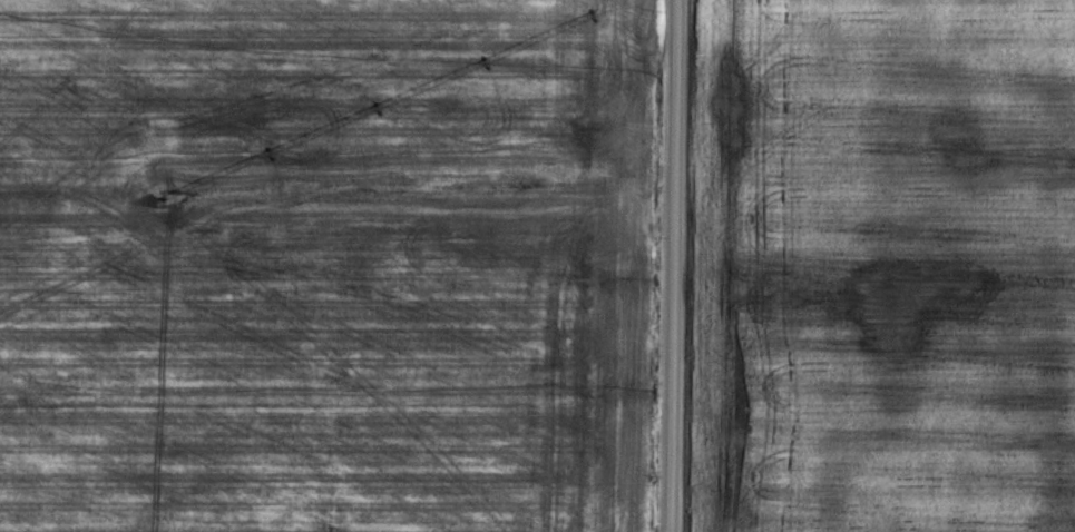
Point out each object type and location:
road: (674, 265)

